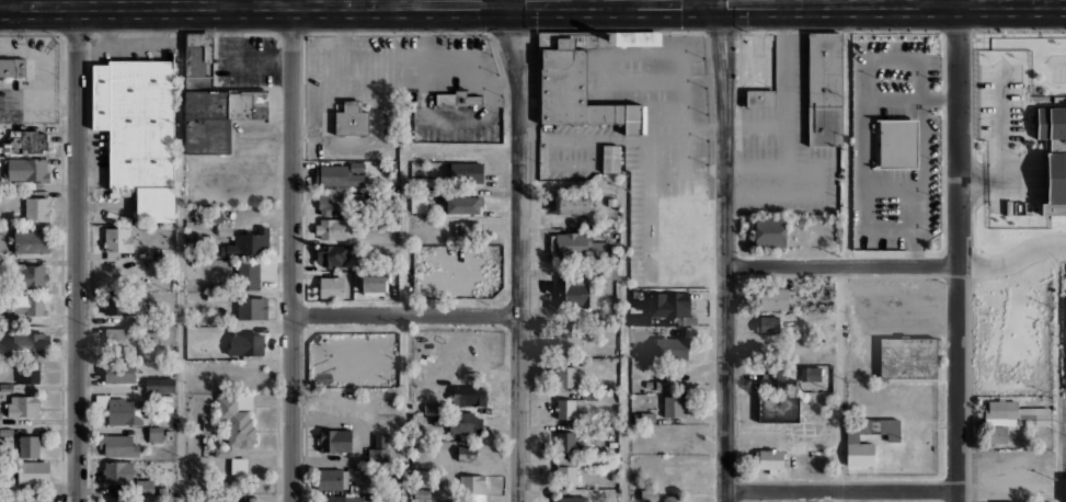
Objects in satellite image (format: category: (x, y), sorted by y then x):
road: (706, 0)
road: (816, 0)
road: (927, 0)
road: (1044, 0)
road: (231, 1)
road: (498, 1)
road: (582, 1)
road: (603, 1)
traffic signals: (707, 1)
road: (886, 1)
road: (3, 2)
road: (249, 2)
traffic signals: (500, 2)
building: (197, 38)
parking lot: (250, 61)
parking lot: (1057, 67)
building: (13, 69)
road: (318, 79)
building: (583, 79)
building: (824, 89)
building: (456, 98)
building: (759, 98)
road: (377, 100)
parking lot: (1000, 102)
building: (202, 104)
building: (222, 104)
building: (234, 104)
building: (245, 105)
building: (259, 105)
building: (352, 118)
building: (138, 130)
building: (31, 140)
building: (897, 144)
building: (7, 147)
building: (1054, 157)
building: (610, 158)
parking lot: (236, 168)
building: (24, 169)
building: (467, 172)
building: (339, 175)
building: (425, 181)
building: (3, 183)
building: (24, 184)
building: (329, 202)
building: (419, 202)
building: (572, 204)
building: (463, 205)
building: (37, 208)
building: (211, 216)
building: (467, 228)
building: (225, 230)
building: (334, 230)
building: (769, 231)
building: (118, 238)
building: (31, 241)
building: (247, 243)
building: (576, 244)
road: (724, 250)
road: (293, 251)
road: (518, 251)
road: (845, 251)
road: (958, 251)
road: (77, 252)
road: (179, 252)
building: (333, 254)
road: (1012, 261)
building: (194, 262)
road: (405, 267)
road: (841, 267)
building: (248, 274)
building: (372, 282)
building: (25, 285)
building: (332, 286)
building: (577, 293)
road: (623, 293)
building: (218, 295)
building: (773, 299)
building: (116, 305)
parking lot: (896, 305)
building: (663, 306)
building: (253, 308)
building: (1065, 311)
road: (405, 316)
building: (1, 319)
building: (766, 324)
building: (118, 340)
building: (568, 342)
building: (31, 344)
building: (247, 344)
building: (670, 346)
building: (907, 357)
building: (121, 369)
building: (28, 373)
road: (1058, 373)
building: (811, 374)
building: (570, 376)
building: (773, 379)
building: (665, 381)
building: (159, 385)
building: (469, 396)
building: (22, 404)
building: (569, 407)
building: (675, 407)
building: (432, 408)
building: (778, 409)
building: (125, 411)
building: (1016, 412)
building: (0, 418)
building: (649, 418)
building: (439, 421)
building: (465, 423)
building: (234, 426)
building: (663, 429)
building: (157, 434)
building: (995, 434)
building: (336, 440)
building: (381, 441)
building: (565, 442)
building: (851, 442)
building: (118, 444)
building: (28, 446)
building: (467, 454)
building: (380, 456)
building: (768, 459)
building: (239, 466)
building: (34, 471)
building: (566, 471)
building: (118, 472)
building: (423, 475)
building: (329, 478)
building: (472, 484)
building: (145, 486)
building: (1065, 489)
road: (843, 492)
building: (422, 493)
building: (649, 494)
building: (28, 498)
building: (331, 498)
building: (673, 498)
building: (119, 499)
building: (204, 499)
building: (353, 499)
building: (571, 499)
building: (242, 501)

